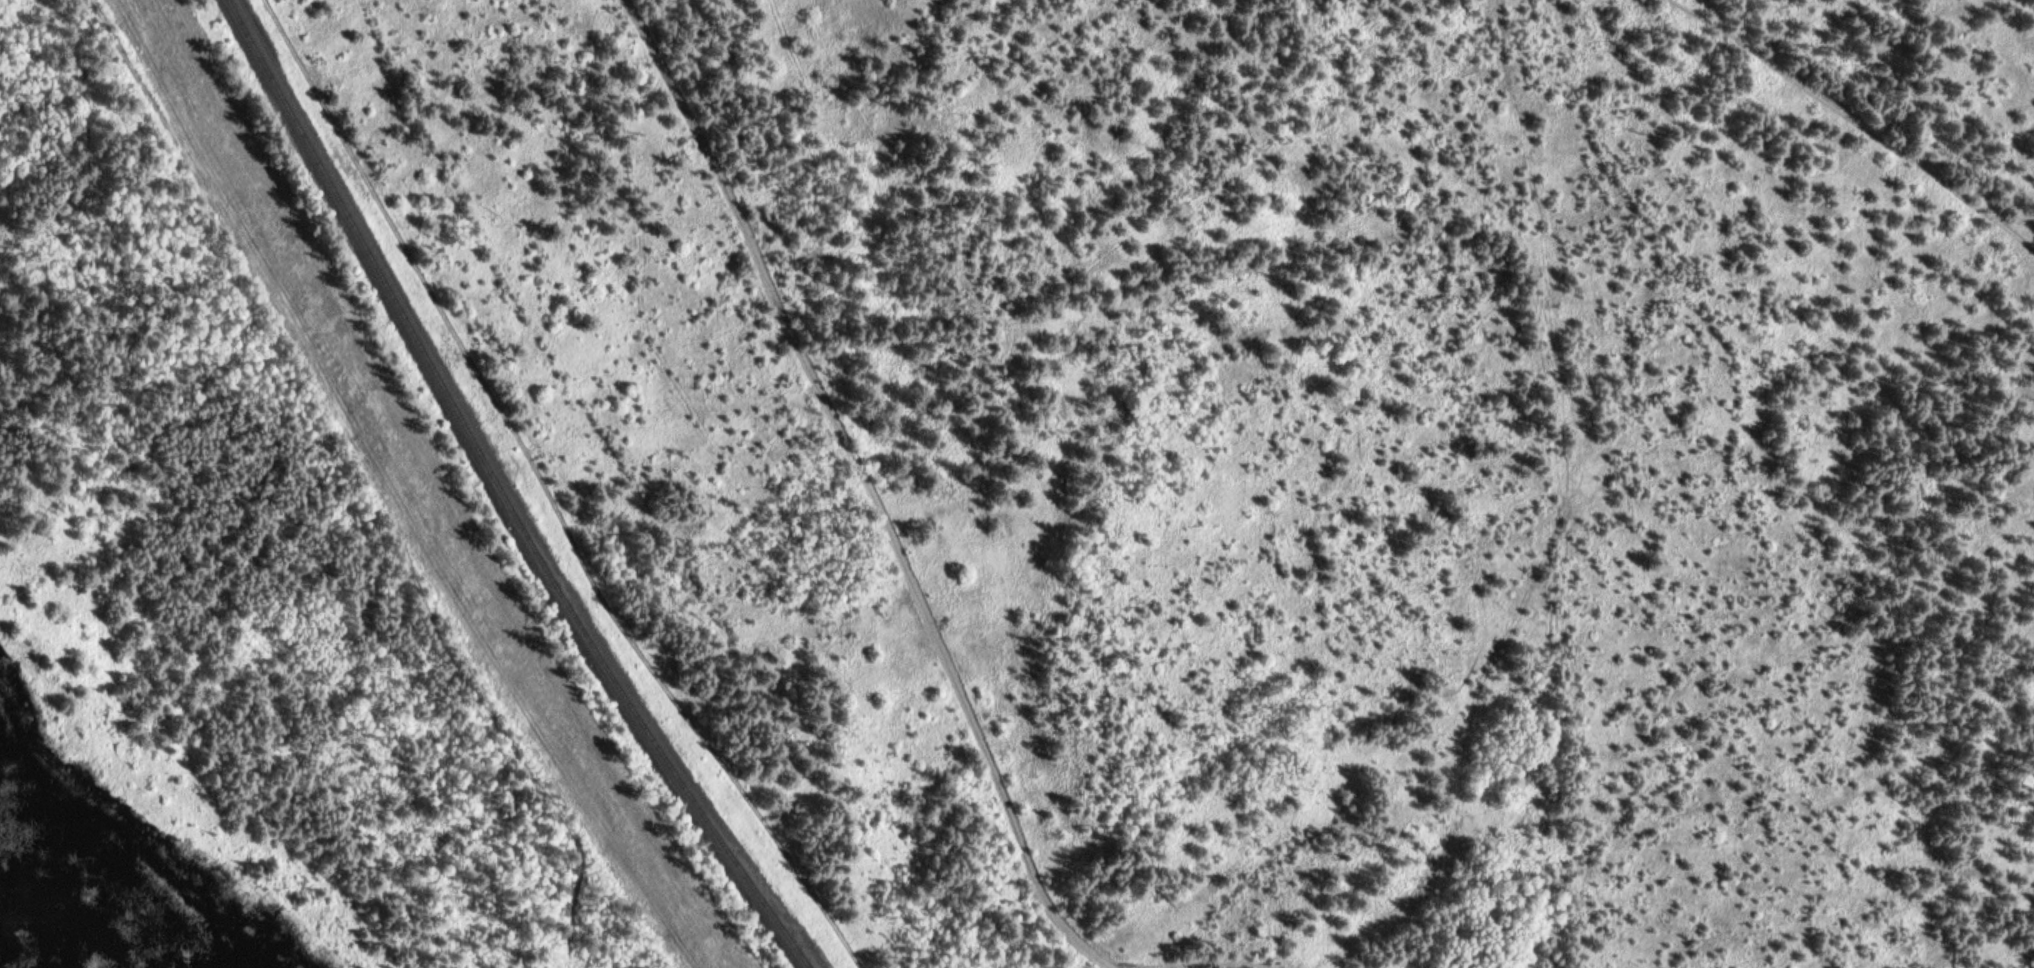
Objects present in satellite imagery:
road: (1856, 112)
road: (2014, 216)
road: (379, 468)
road: (643, 470)
railway: (517, 490)
road: (554, 498)
road: (1558, 521)
road: (900, 566)
road: (1108, 963)

